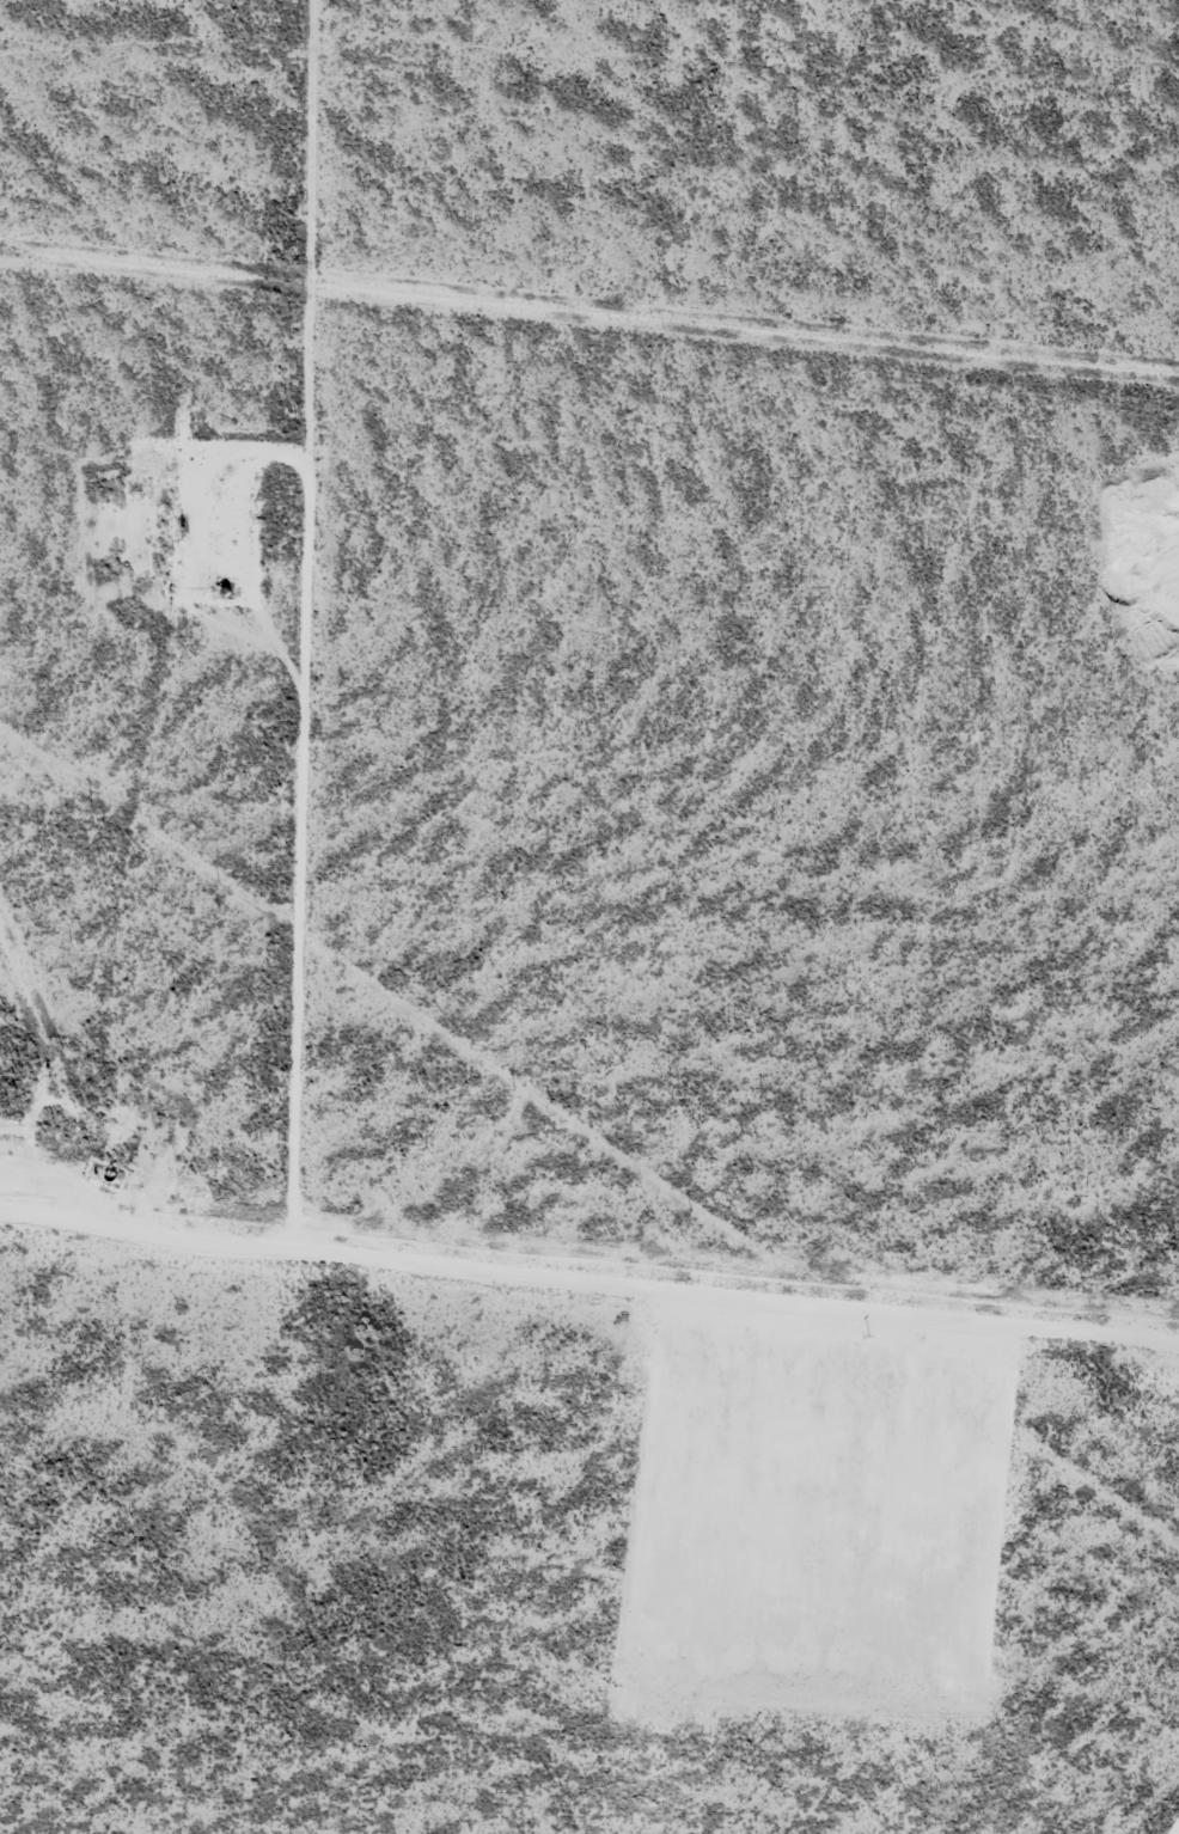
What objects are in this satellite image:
road: (591, 1307)
road: (1052, 1750)

